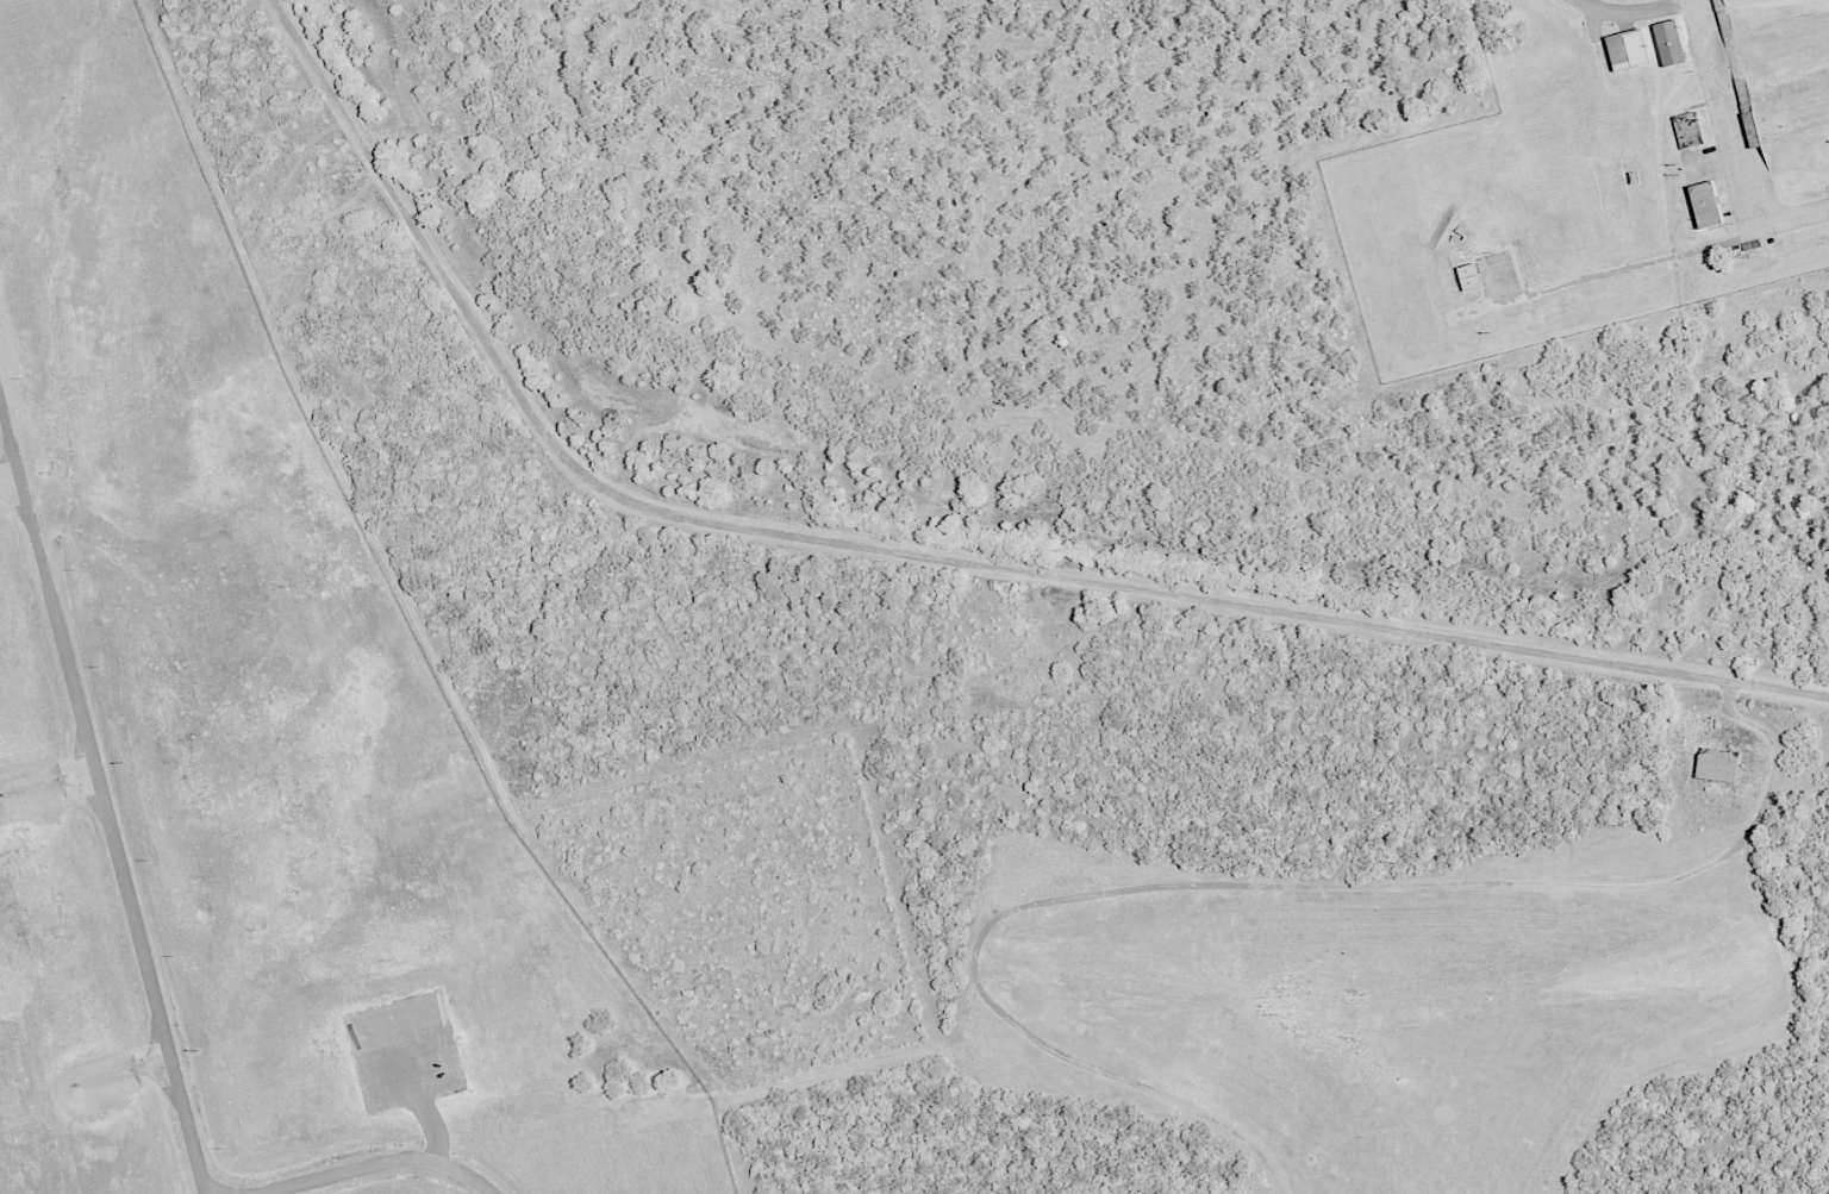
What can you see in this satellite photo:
building: (1669, 43)
building: (1628, 49)
road: (1713, 102)
building: (1687, 130)
building: (1706, 204)
road: (1636, 265)
building: (1468, 276)
road: (920, 555)
road: (1772, 752)
road: (102, 795)
road: (1391, 883)
road: (382, 1163)

